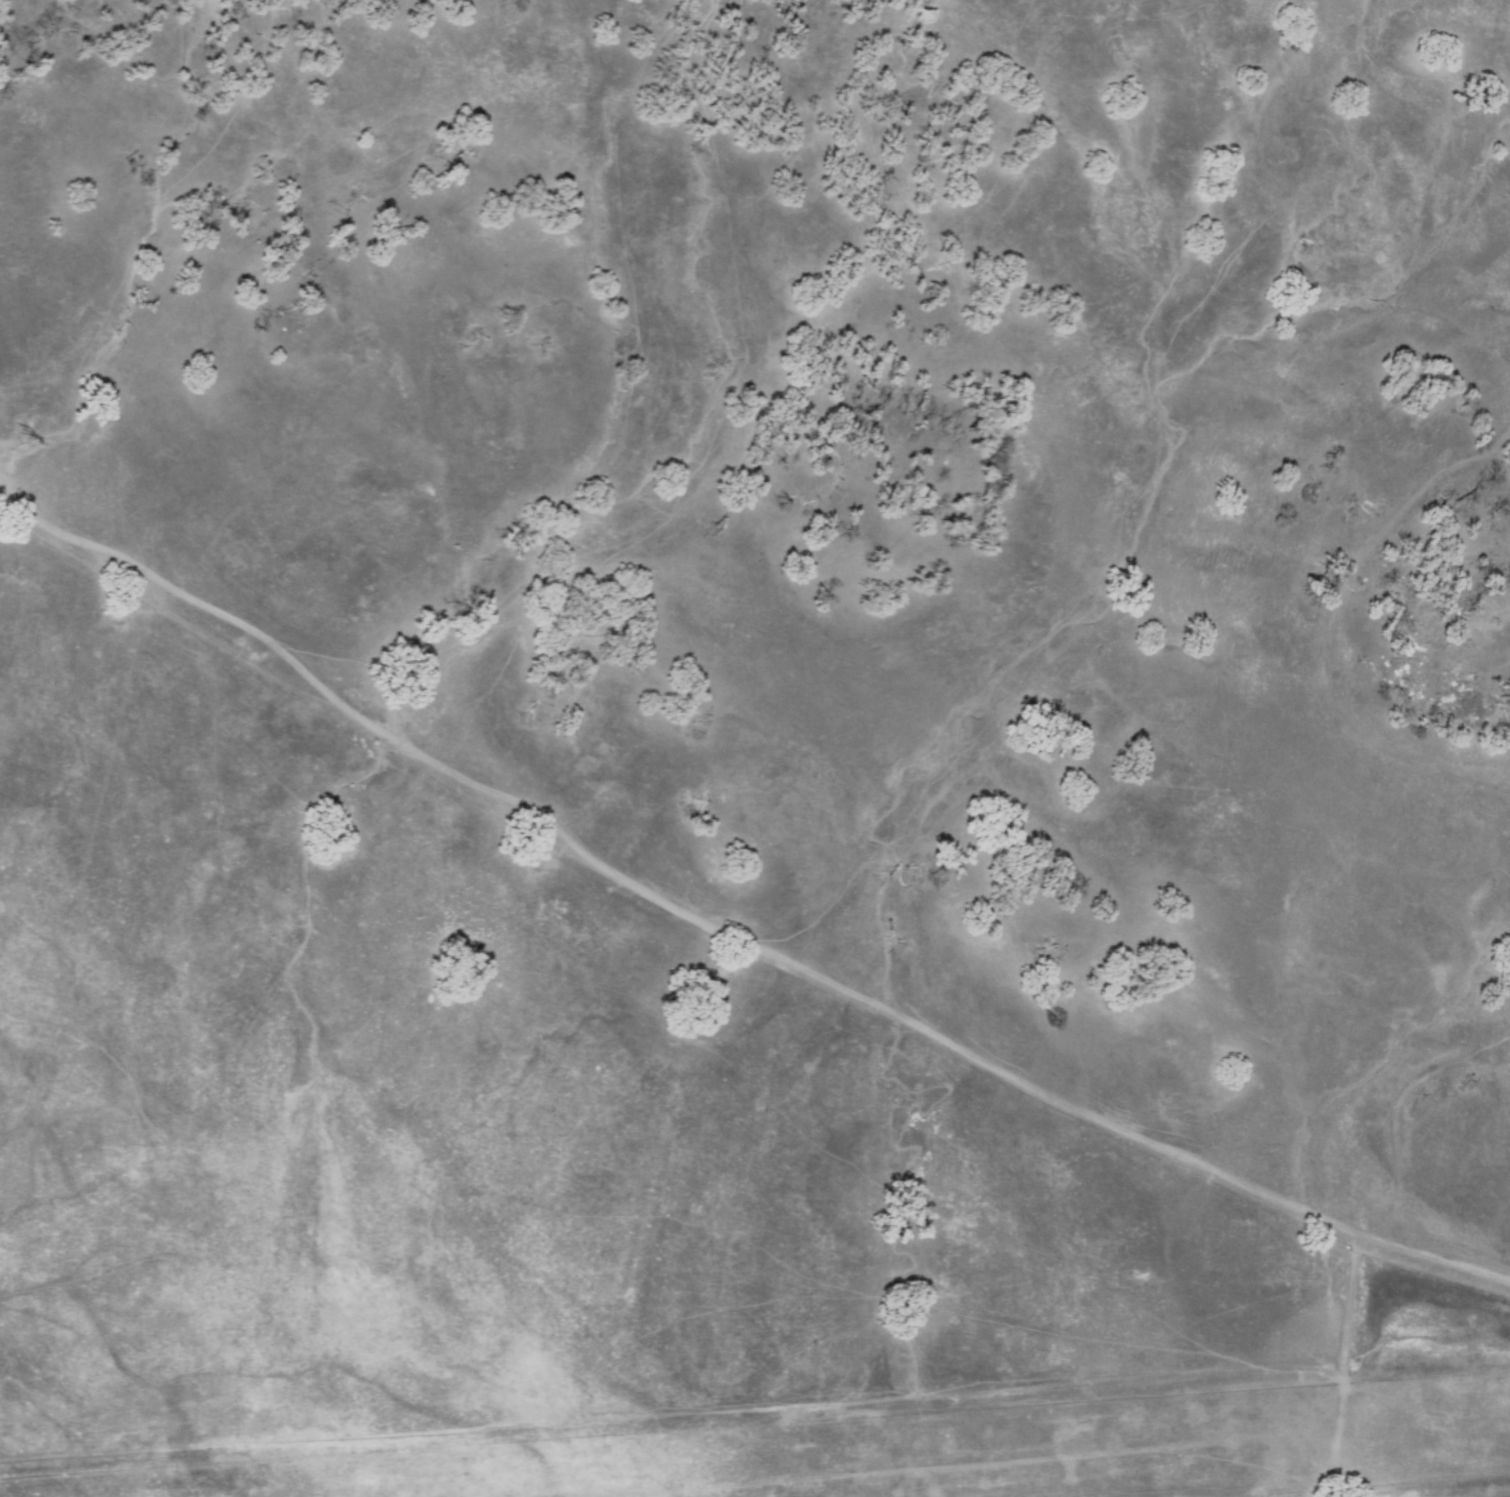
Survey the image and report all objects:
road: (724, 932)
road: (1342, 1364)

